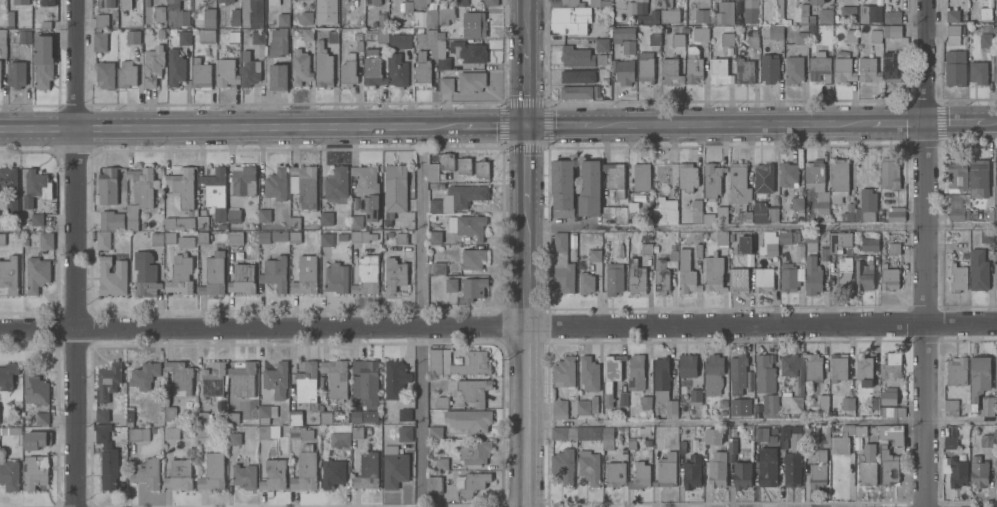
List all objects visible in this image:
building: (302, 0)
building: (715, 0)
building: (224, 1)
building: (20, 2)
building: (995, 2)
building: (47, 3)
building: (146, 3)
building: (273, 3)
building: (373, 3)
building: (462, 3)
building: (489, 3)
building: (575, 3)
building: (595, 3)
building: (816, 3)
building: (106, 4)
building: (421, 4)
building: (559, 4)
building: (125, 5)
building: (641, 7)
building: (407, 8)
building: (779, 9)
building: (631, 10)
building: (750, 11)
building: (326, 12)
building: (251, 13)
building: (345, 13)
building: (668, 13)
building: (703, 13)
building: (848, 13)
building: (159, 14)
building: (723, 14)
building: (804, 14)
building: (176, 15)
building: (869, 15)
building: (984, 15)
building: (445, 16)
building: (825, 17)
building: (952, 17)
building: (209, 18)
building: (235, 18)
building: (431, 18)
building: (891, 18)
building: (10, 19)
building: (305, 19)
building: (418, 19)
building: (648, 19)
building: (283, 20)
building: (568, 20)
building: (811, 20)
building: (382, 21)
building: (102, 22)
building: (126, 22)
building: (472, 24)
building: (41, 25)
building: (194, 32)
building: (891, 32)
building: (623, 33)
building: (775, 33)
building: (160, 34)
building: (307, 35)
building: (377, 35)
building: (700, 35)
building: (953, 35)
building: (357, 36)
building: (206, 37)
building: (850, 37)
building: (25, 38)
building: (133, 38)
building: (184, 38)
building: (233, 38)
building: (257, 38)
building: (333, 38)
building: (426, 38)
building: (874, 38)
building: (802, 39)
building: (652, 40)
building: (726, 40)
building: (678, 41)
building: (752, 41)
building: (100, 42)
building: (400, 42)
building: (986, 42)
building: (278, 43)
building: (2, 45)
building: (601, 46)
building: (359, 47)
building: (628, 48)
building: (468, 52)
building: (442, 56)
building: (576, 57)
building: (43, 63)
building: (323, 67)
building: (693, 67)
building: (152, 68)
building: (645, 68)
building: (891, 68)
building: (0, 69)
building: (175, 69)
building: (300, 69)
building: (373, 69)
building: (768, 69)
building: (955, 69)
building: (423, 70)
building: (819, 70)
building: (995, 70)
building: (249, 71)
building: (793, 71)
building: (844, 71)
building: (867, 71)
building: (348, 72)
building: (226, 73)
building: (624, 73)
building: (670, 73)
building: (719, 73)
building: (743, 73)
building: (978, 73)
building: (398, 74)
building: (17, 75)
building: (104, 75)
building: (127, 75)
building: (200, 76)
building: (577, 77)
building: (278, 78)
building: (471, 82)
building: (446, 85)
building: (596, 92)
building: (575, 93)
road: (498, 128)
traffic signals: (527, 128)
building: (433, 158)
building: (447, 160)
building: (464, 164)
building: (482, 167)
building: (432, 170)
building: (814, 174)
building: (787, 175)
building: (889, 175)
building: (957, 177)
building: (243, 178)
building: (641, 178)
building: (687, 178)
building: (763, 179)
building: (615, 180)
building: (979, 180)
building: (838, 181)
building: (712, 182)
building: (276, 183)
building: (337, 183)
building: (143, 184)
building: (183, 184)
building: (304, 184)
building: (107, 185)
building: (738, 185)
building: (36, 186)
building: (9, 187)
building: (396, 187)
building: (367, 188)
building: (996, 189)
building: (215, 190)
building: (562, 190)
building: (589, 190)
building: (466, 194)
building: (436, 204)
building: (822, 204)
building: (797, 205)
building: (866, 207)
building: (632, 209)
building: (664, 212)
building: (696, 212)
building: (848, 212)
building: (234, 214)
building: (264, 214)
building: (764, 214)
building: (956, 214)
building: (615, 215)
building: (895, 215)
building: (132, 216)
building: (988, 216)
building: (326, 217)
building: (716, 217)
building: (37, 218)
building: (744, 218)
building: (111, 219)
building: (402, 219)
building: (294, 220)
building: (356, 220)
building: (387, 220)
building: (178, 221)
building: (202, 221)
building: (467, 224)
road: (762, 226)
building: (390, 233)
building: (279, 235)
building: (342, 235)
building: (362, 235)
building: (986, 235)
building: (113, 236)
building: (169, 236)
building: (264, 236)
building: (295, 236)
building: (401, 236)
building: (435, 236)
building: (731, 236)
building: (787, 236)
building: (156, 237)
building: (202, 237)
building: (235, 237)
building: (722, 237)
building: (2, 238)
building: (326, 238)
building: (810, 239)
building: (25, 240)
building: (46, 240)
building: (103, 240)
building: (186, 240)
building: (839, 240)
building: (744, 243)
building: (768, 243)
building: (869, 243)
building: (646, 247)
building: (894, 247)
building: (698, 249)
building: (799, 249)
road: (74, 253)
road: (527, 253)
building: (824, 253)
road: (928, 253)
building: (595, 254)
building: (673, 254)
building: (964, 256)
building: (472, 257)
building: (580, 261)
building: (562, 264)
building: (438, 266)
building: (844, 267)
building: (979, 269)
building: (275, 271)
building: (37, 273)
building: (145, 273)
building: (180, 273)
building: (213, 273)
building: (366, 273)
building: (394, 273)
building: (687, 273)
building: (714, 273)
building: (9, 274)
building: (113, 274)
building: (305, 274)
building: (812, 274)
building: (864, 274)
building: (661, 275)
building: (790, 275)
building: (996, 275)
building: (636, 276)
building: (889, 276)
building: (958, 276)
building: (336, 277)
building: (614, 277)
building: (738, 277)
building: (243, 278)
building: (763, 278)
building: (586, 282)
building: (451, 283)
building: (473, 287)
road: (420, 317)
road: (498, 326)
building: (438, 361)
building: (474, 362)
building: (687, 364)
building: (813, 364)
building: (891, 364)
building: (838, 365)
building: (864, 369)
building: (564, 370)
building: (956, 370)
building: (636, 371)
building: (589, 372)
building: (738, 372)
building: (764, 373)
building: (8, 374)
building: (144, 374)
building: (611, 374)
building: (715, 374)
building: (996, 375)
building: (180, 376)
building: (336, 376)
building: (980, 376)
building: (243, 377)
building: (395, 377)
building: (213, 378)
building: (276, 378)
building: (306, 381)
building: (108, 382)
building: (800, 383)
building: (663, 384)
building: (34, 385)
building: (474, 389)
building: (366, 394)
building: (696, 395)
building: (889, 395)
building: (622, 397)
building: (442, 400)
building: (645, 401)
building: (722, 402)
building: (848, 402)
building: (874, 402)
building: (823, 403)
building: (770, 404)
building: (987, 404)
building: (343, 405)
building: (706, 405)
building: (583, 406)
building: (951, 406)
building: (559, 407)
building: (739, 407)
building: (892, 410)
building: (722, 411)
building: (169, 412)
building: (267, 412)
building: (404, 413)
building: (102, 414)
building: (130, 415)
building: (325, 415)
building: (340, 415)
building: (202, 416)
building: (233, 416)
building: (42, 417)
building: (294, 417)
building: (469, 418)
road: (762, 420)
building: (102, 424)
building: (14, 429)
building: (123, 429)
building: (773, 429)
building: (360, 430)
building: (643, 430)
building: (948, 430)
building: (269, 431)
building: (435, 431)
building: (563, 431)
building: (589, 431)
building: (732, 431)
building: (35, 432)
building: (172, 432)
building: (202, 432)
building: (405, 432)
building: (138, 433)
building: (709, 433)
building: (810, 434)
building: (299, 435)
building: (996, 435)
building: (234, 437)
building: (607, 437)
building: (845, 437)
building: (340, 438)
building: (987, 439)
building: (632, 441)
building: (950, 441)
building: (682, 445)
building: (732, 446)
building: (474, 450)
building: (790, 453)
building: (886, 453)
building: (767, 456)
building: (107, 457)
building: (441, 462)
building: (563, 464)
building: (589, 464)
building: (394, 465)
building: (867, 465)
building: (717, 467)
building: (305, 468)
building: (667, 469)
building: (819, 469)
building: (36, 470)
building: (367, 470)
building: (692, 470)
building: (996, 470)
building: (212, 471)
building: (333, 471)
building: (957, 471)
building: (979, 471)
building: (147, 472)
building: (615, 472)
building: (9, 473)
building: (274, 473)
building: (741, 473)
building: (179, 474)
building: (244, 475)
building: (640, 475)
building: (470, 482)
building: (435, 484)

